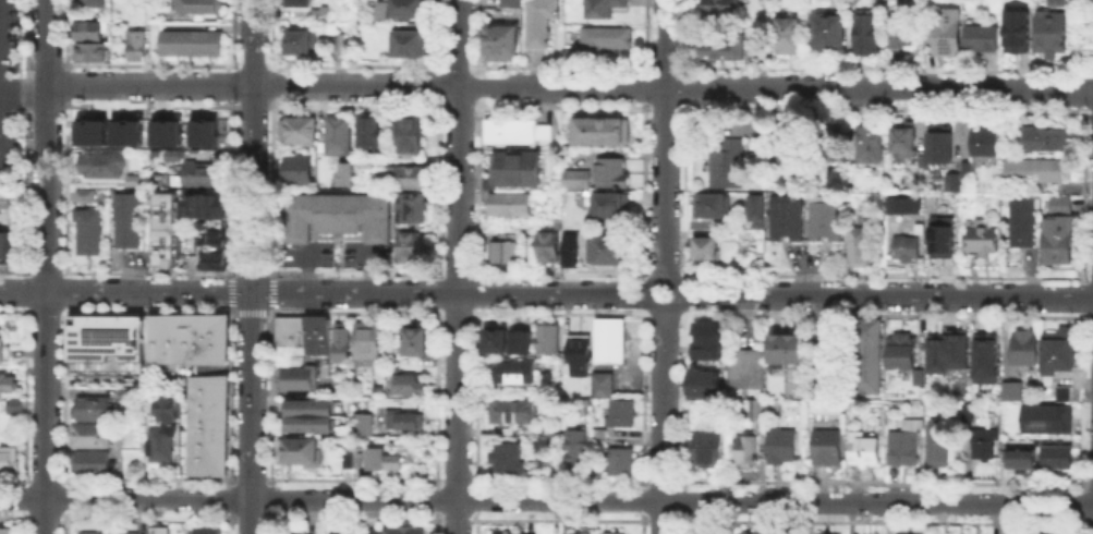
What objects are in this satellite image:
building: (297, 2)
building: (508, 2)
building: (1056, 2)
building: (94, 3)
building: (599, 7)
building: (198, 8)
building: (404, 8)
building: (724, 8)
building: (379, 9)
building: (317, 12)
building: (538, 21)
building: (830, 28)
building: (1018, 28)
building: (92, 29)
building: (902, 33)
building: (948, 33)
building: (866, 34)
building: (1053, 35)
building: (789, 36)
building: (603, 38)
building: (985, 38)
building: (499, 41)
building: (339, 43)
building: (302, 44)
building: (410, 45)
building: (194, 46)
building: (137, 47)
building: (725, 47)
building: (92, 54)
parking lot: (8, 81)
road: (24, 84)
road: (570, 86)
building: (89, 130)
building: (125, 130)
building: (301, 130)
building: (166, 131)
building: (208, 131)
building: (373, 132)
building: (519, 132)
building: (605, 132)
building: (342, 135)
building: (411, 136)
road: (665, 138)
building: (907, 138)
building: (1046, 139)
building: (838, 144)
building: (987, 144)
road: (252, 145)
building: (797, 145)
building: (871, 145)
building: (943, 146)
building: (173, 154)
building: (727, 163)
building: (104, 167)
building: (969, 169)
building: (300, 170)
building: (520, 170)
building: (1037, 172)
building: (204, 173)
building: (343, 173)
building: (614, 173)
building: (411, 177)
building: (575, 180)
building: (137, 182)
building: (955, 183)
building: (83, 194)
building: (4, 198)
building: (205, 205)
building: (903, 205)
building: (512, 206)
building: (715, 206)
building: (615, 207)
building: (414, 209)
building: (755, 210)
building: (340, 216)
building: (827, 218)
building: (788, 219)
building: (130, 222)
building: (168, 222)
building: (1024, 223)
building: (212, 227)
building: (86, 229)
building: (1057, 229)
building: (757, 230)
building: (940, 235)
building: (984, 241)
building: (7, 243)
building: (862, 244)
building: (411, 246)
building: (549, 247)
building: (569, 248)
building: (707, 250)
building: (908, 250)
building: (212, 253)
building: (506, 253)
building: (610, 253)
building: (165, 257)
road: (458, 266)
road: (47, 267)
road: (661, 277)
road: (125, 292)
road: (448, 292)
road: (885, 295)
road: (663, 310)
building: (289, 331)
building: (309, 333)
building: (320, 333)
building: (212, 337)
building: (160, 338)
building: (185, 338)
building: (499, 339)
building: (548, 339)
building: (523, 340)
building: (340, 341)
building: (368, 341)
building: (416, 341)
building: (612, 342)
building: (107, 343)
building: (0, 347)
building: (1024, 348)
building: (699, 349)
building: (788, 350)
building: (1056, 350)
building: (904, 352)
building: (952, 353)
building: (869, 356)
building: (583, 357)
building: (294, 359)
building: (989, 359)
building: (382, 372)
building: (749, 372)
building: (513, 373)
building: (295, 376)
building: (921, 379)
building: (7, 383)
building: (706, 385)
building: (410, 386)
building: (603, 386)
building: (207, 391)
building: (1013, 393)
building: (129, 396)
building: (1065, 396)
building: (14, 404)
building: (165, 406)
building: (307, 406)
building: (94, 409)
building: (513, 409)
building: (760, 411)
road: (251, 412)
building: (968, 413)
building: (623, 415)
building: (405, 422)
road: (663, 422)
building: (207, 423)
building: (307, 423)
building: (1033, 424)
building: (365, 427)
building: (92, 437)
building: (162, 445)
building: (985, 445)
building: (938, 446)
building: (785, 447)
building: (829, 447)
building: (908, 447)
building: (297, 449)
building: (709, 450)
building: (578, 452)
building: (749, 452)
building: (867, 452)
building: (206, 454)
building: (1058, 458)
building: (507, 459)
building: (1021, 459)
building: (10, 461)
building: (387, 462)
building: (623, 462)
building: (93, 464)
road: (546, 500)
building: (159, 530)
building: (368, 530)
building: (9, 531)
building: (207, 531)
building: (396, 531)
building: (611, 532)
building: (1047, 532)
building: (111, 533)
building: (508, 533)
building: (578, 533)
building: (746, 533)
building: (814, 533)
building: (896, 533)

